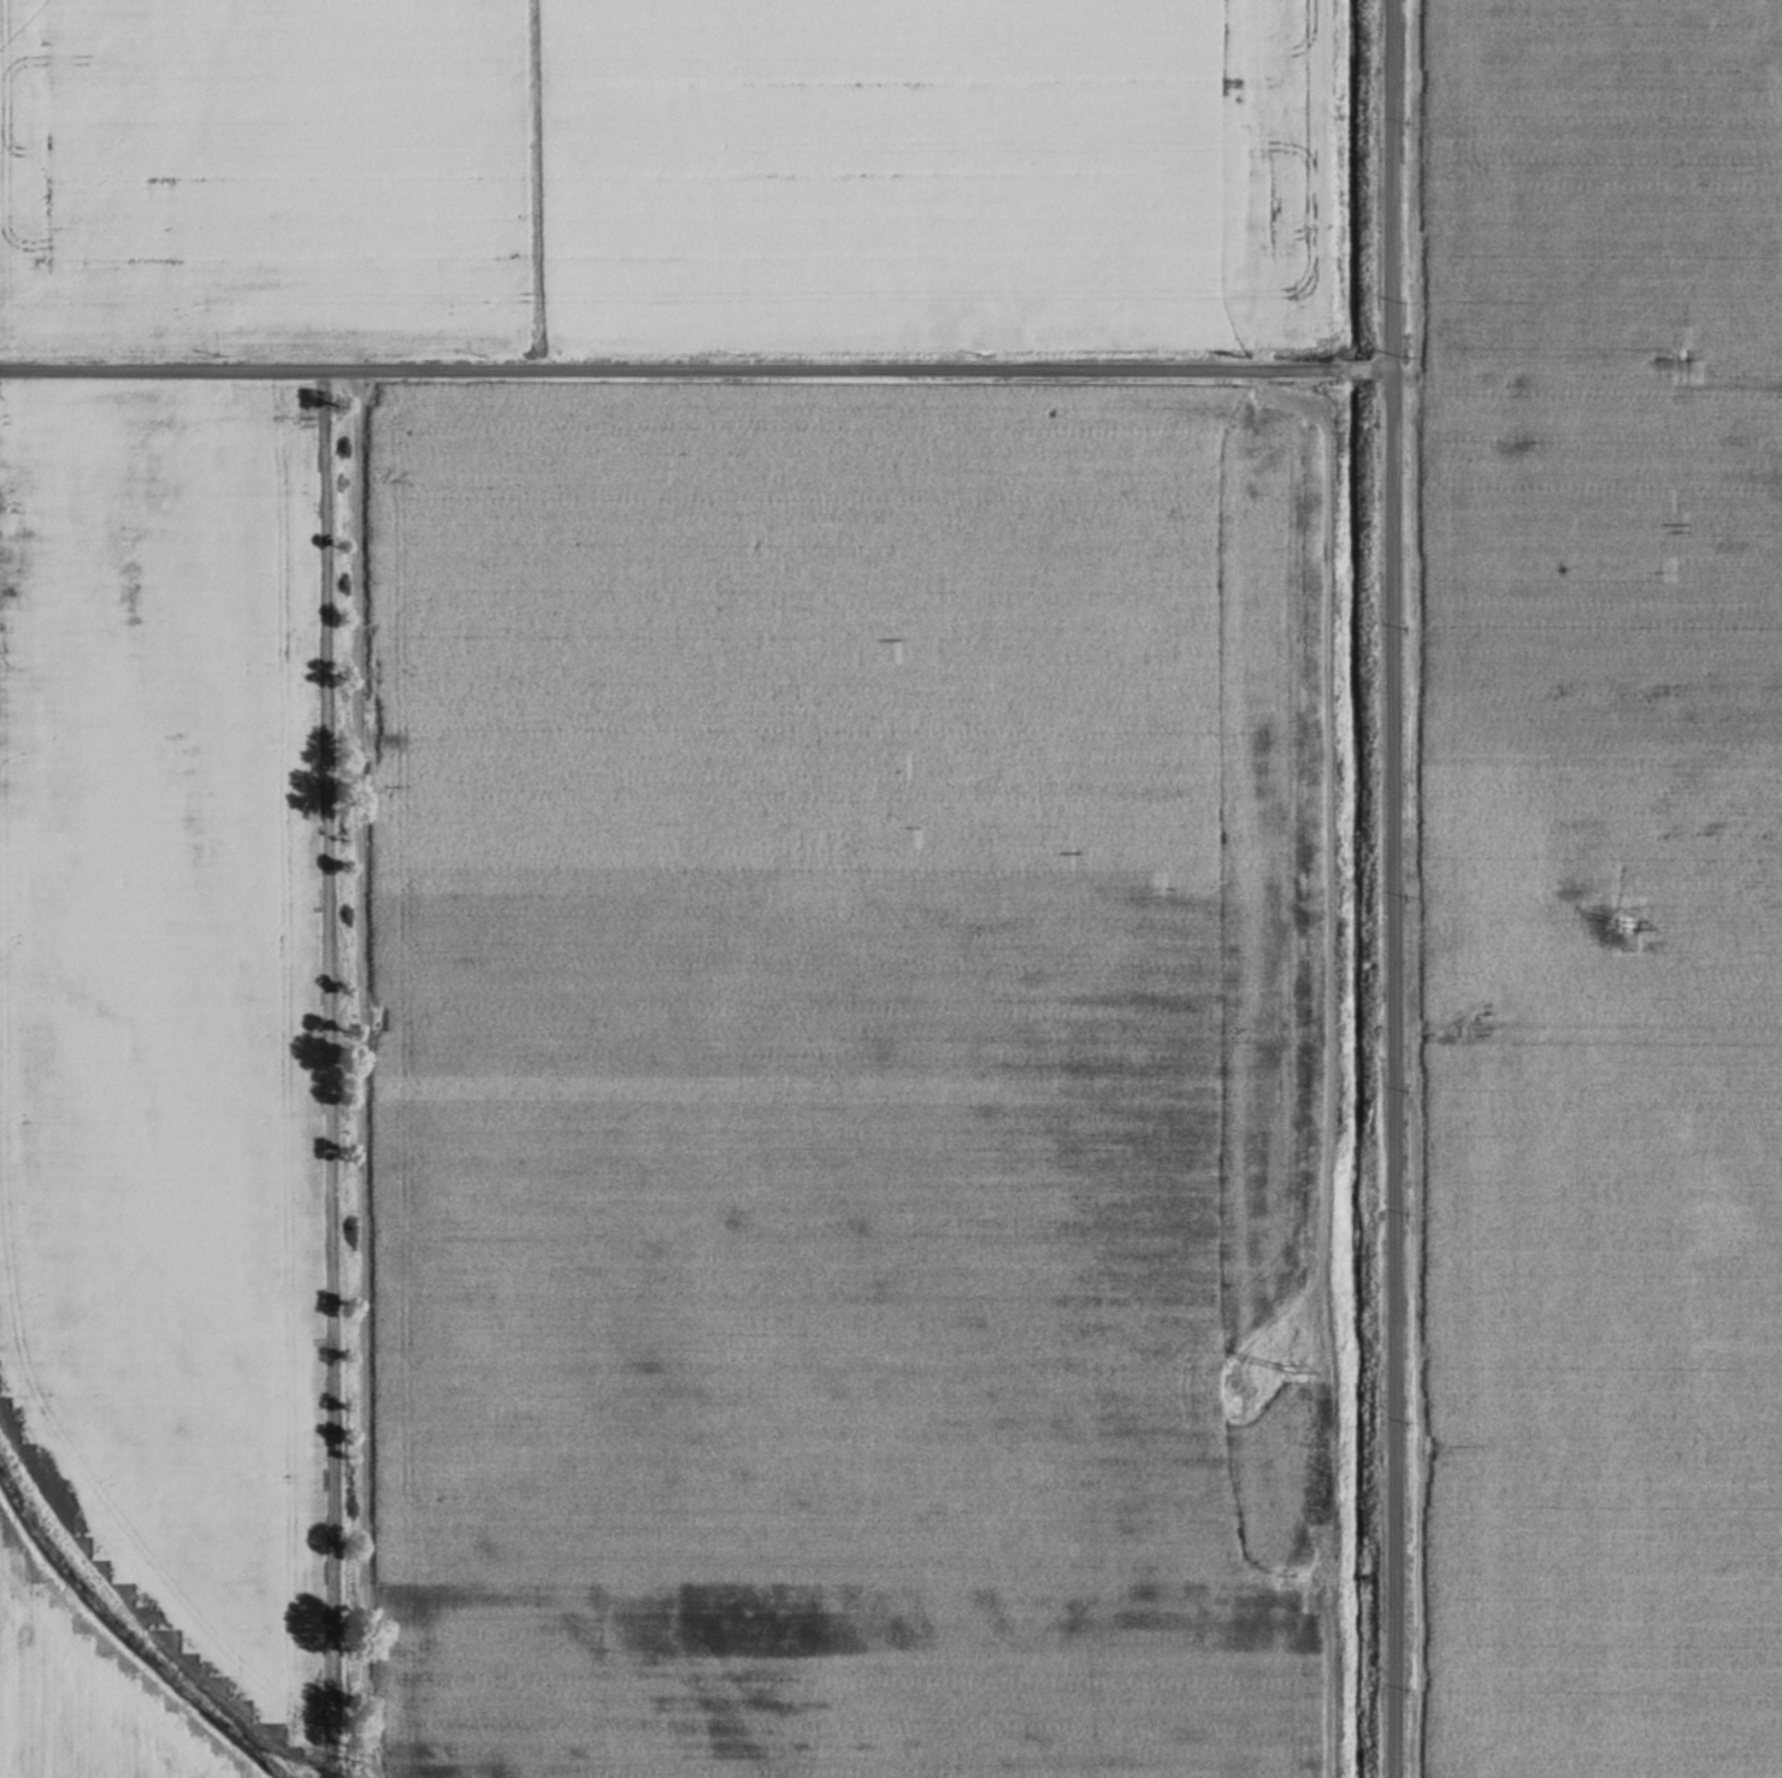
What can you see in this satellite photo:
road: (695, 370)
road: (1391, 888)
power tower: (1621, 918)
power tower: (1275, 1366)

